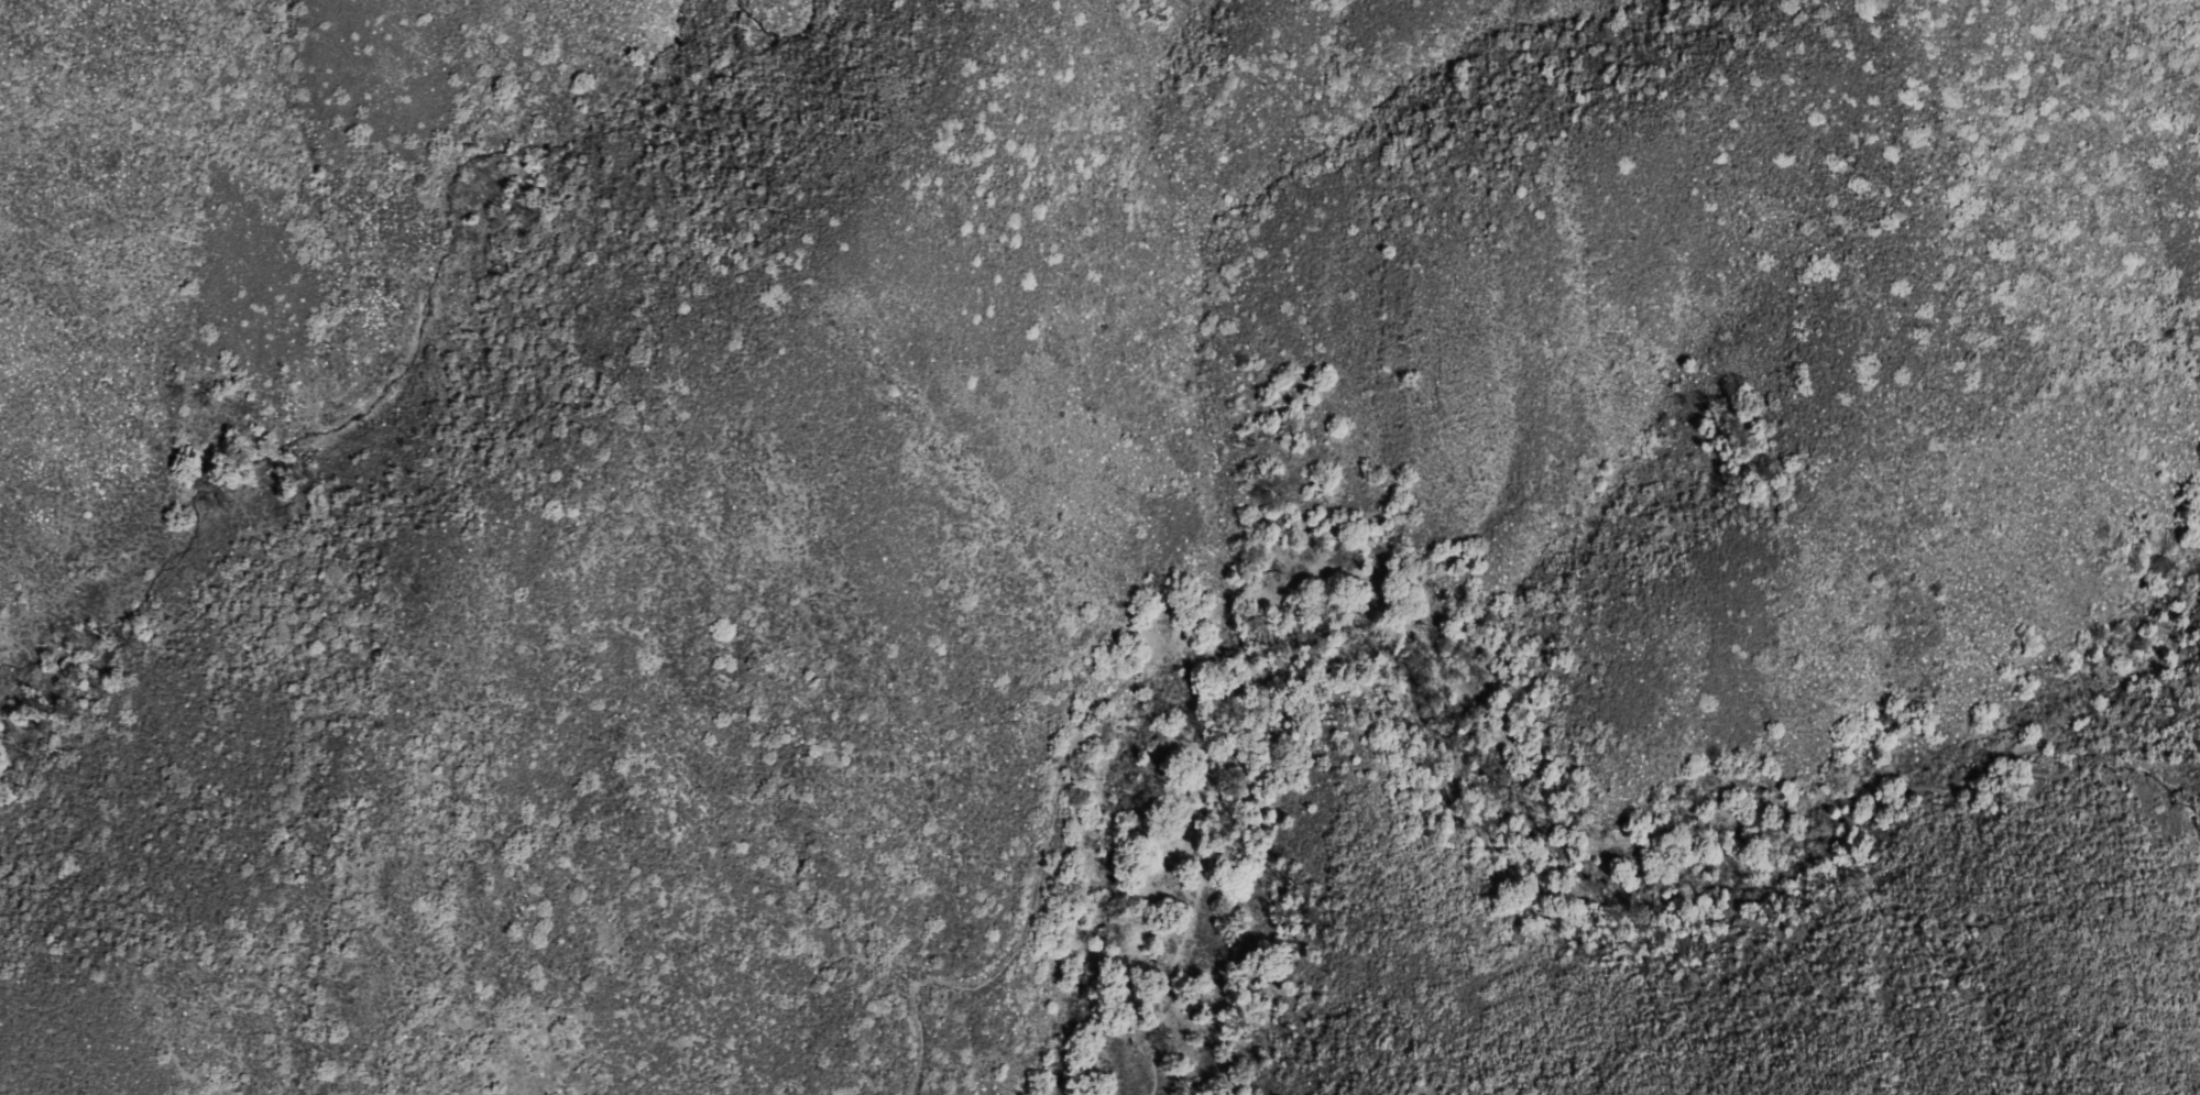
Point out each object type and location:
road: (31, 670)
road: (1551, 873)
road: (1014, 953)

